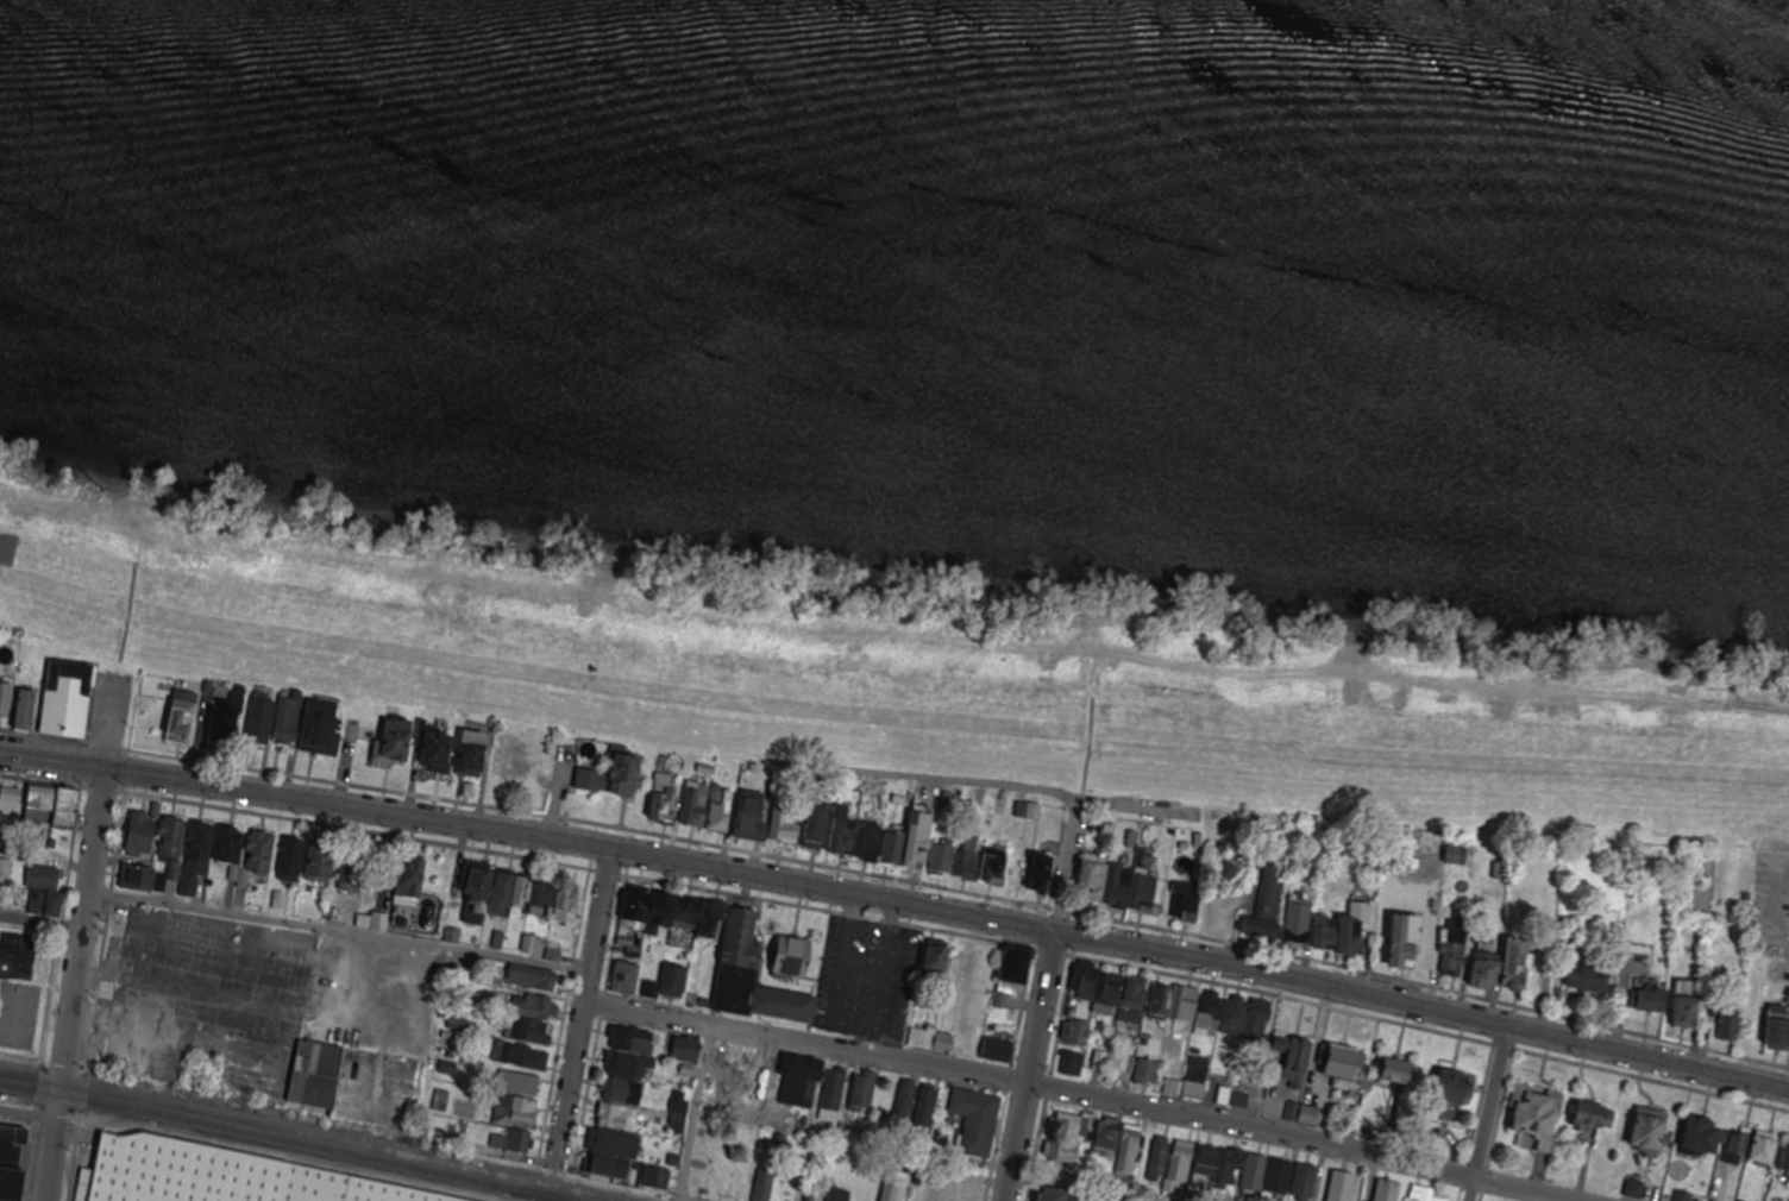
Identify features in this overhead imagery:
river: (1247, 77)
road: (988, 788)
road: (898, 903)
road: (40, 923)
road: (337, 933)
road: (79, 942)
park: (33, 991)
road: (1041, 1000)
road: (583, 1005)
park: (19, 1015)
road: (804, 1044)
road: (27, 1113)
road: (696, 1113)
road: (1488, 1115)
railway: (308, 1137)
road: (1304, 1139)
railway: (282, 1142)
building: (219, 1176)

